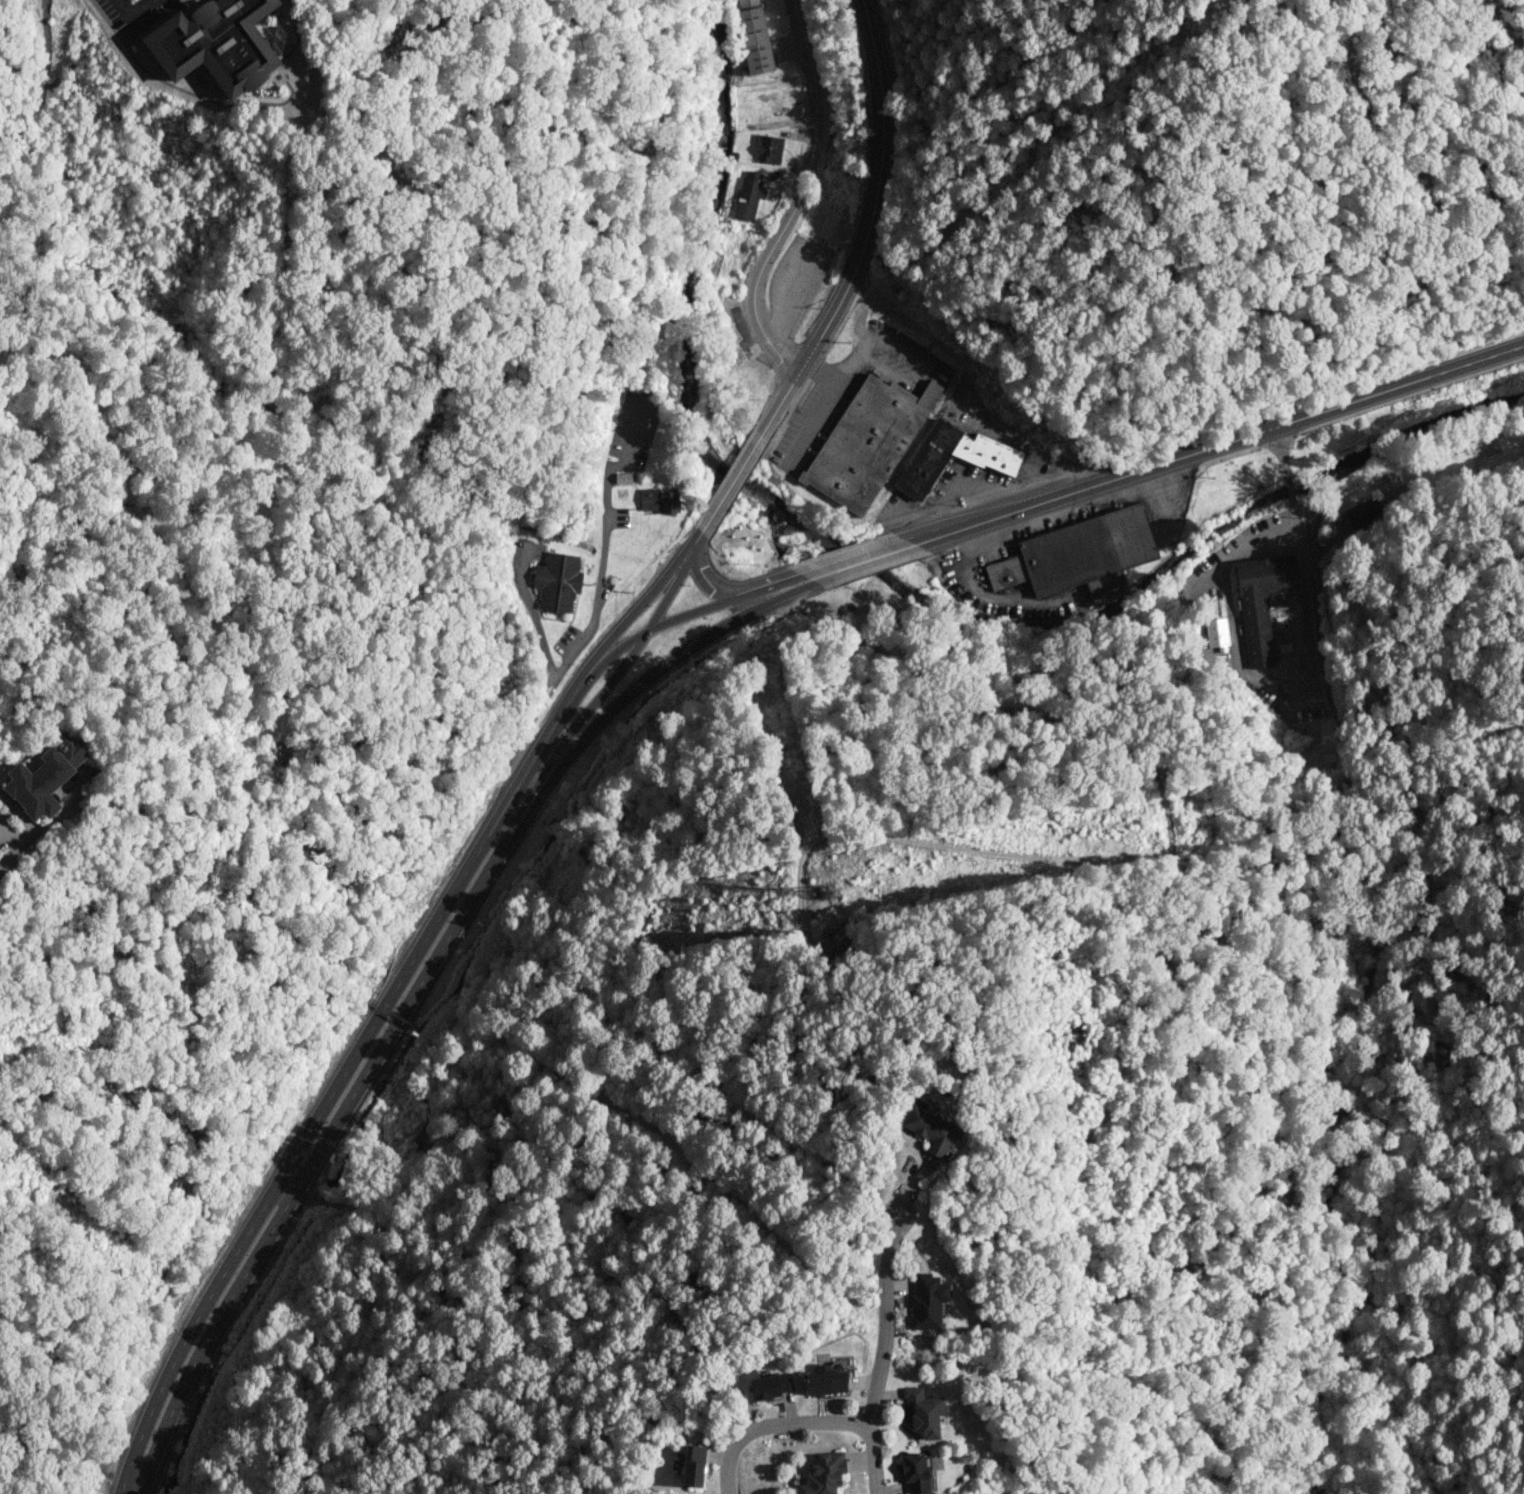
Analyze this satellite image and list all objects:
road: (127, 9)
road: (146, 9)
building: (753, 37)
building: (215, 42)
building: (768, 148)
building: (734, 155)
building: (749, 195)
road: (797, 197)
road: (868, 228)
parking lot: (635, 425)
road: (633, 428)
building: (867, 441)
road: (1219, 445)
road: (1279, 451)
building: (987, 453)
building: (928, 459)
building: (623, 478)
road: (731, 483)
road: (1290, 490)
building: (660, 500)
building: (1362, 512)
road: (691, 547)
building: (1085, 553)
road: (862, 561)
road: (706, 578)
building: (557, 581)
river: (898, 586)
road: (774, 589)
building: (1261, 601)
road: (746, 604)
road: (533, 616)
road: (592, 622)
building: (1216, 633)
road: (602, 646)
road: (621, 647)
road: (1252, 677)
road: (625, 695)
road: (585, 714)
road: (527, 768)
building: (53, 777)
road: (20, 809)
road: (62, 822)
road: (493, 826)
road: (21, 843)
building: (930, 1129)
road: (285, 1170)
road: (307, 1176)
road: (317, 1200)
building: (927, 1301)
road: (883, 1318)
building: (825, 1380)
building: (770, 1385)
building: (923, 1412)
road: (775, 1426)
road: (876, 1460)
building: (693, 1465)
building: (823, 1473)
building: (916, 1473)

